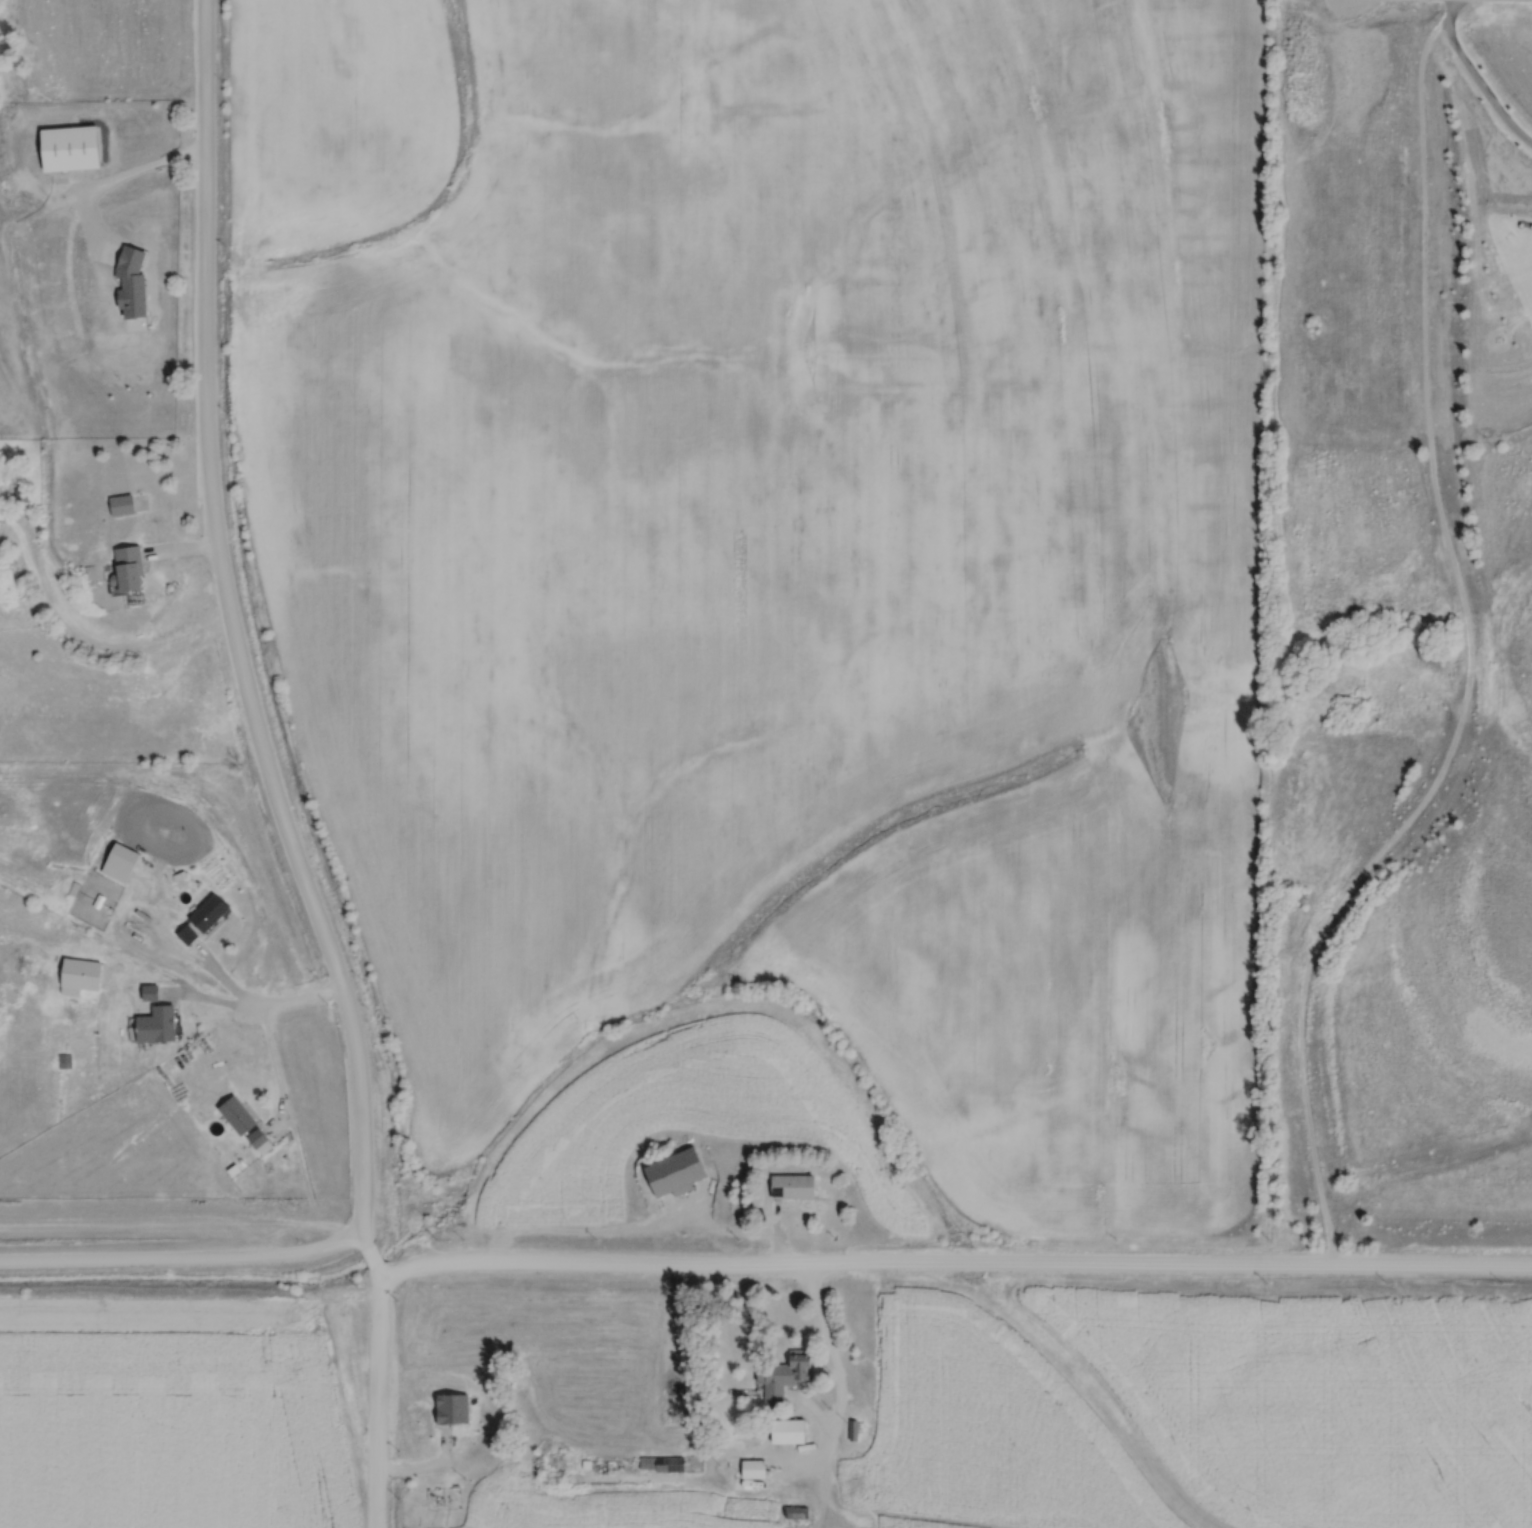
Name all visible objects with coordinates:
road: (1477, 77)
building: (74, 148)
road: (133, 174)
building: (22, 495)
building: (134, 567)
road: (228, 635)
road: (87, 642)
road: (1469, 654)
building: (212, 912)
building: (153, 992)
road: (263, 1003)
building: (167, 1022)
road: (275, 1064)
building: (241, 1115)
building: (261, 1137)
building: (670, 1173)
building: (788, 1186)
road: (951, 1260)
road: (181, 1261)
road: (368, 1262)
road: (837, 1373)
building: (781, 1375)
road: (375, 1399)
building: (784, 1431)
building: (850, 1431)
building: (614, 1463)

